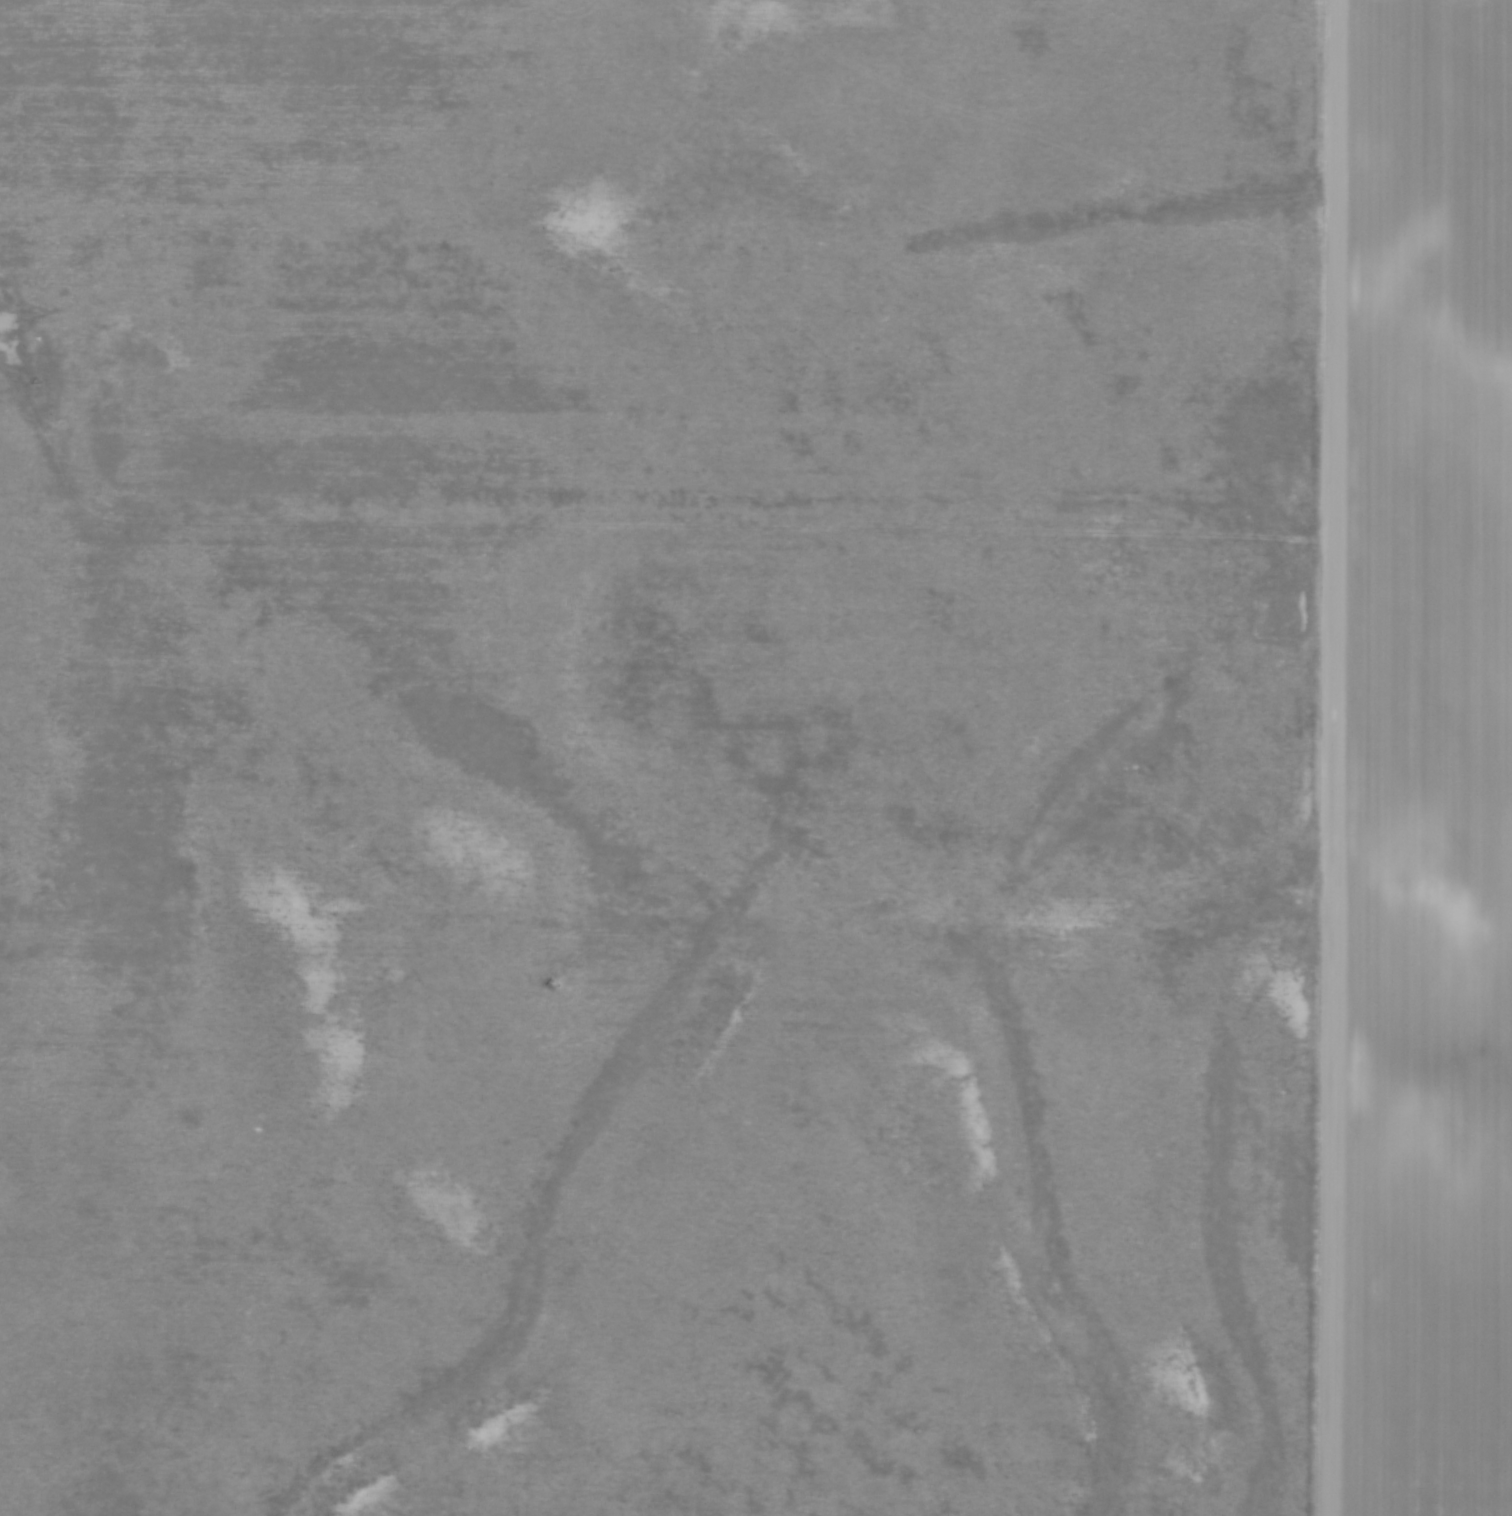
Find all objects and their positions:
road: (1332, 758)
crop: (1431, 763)

